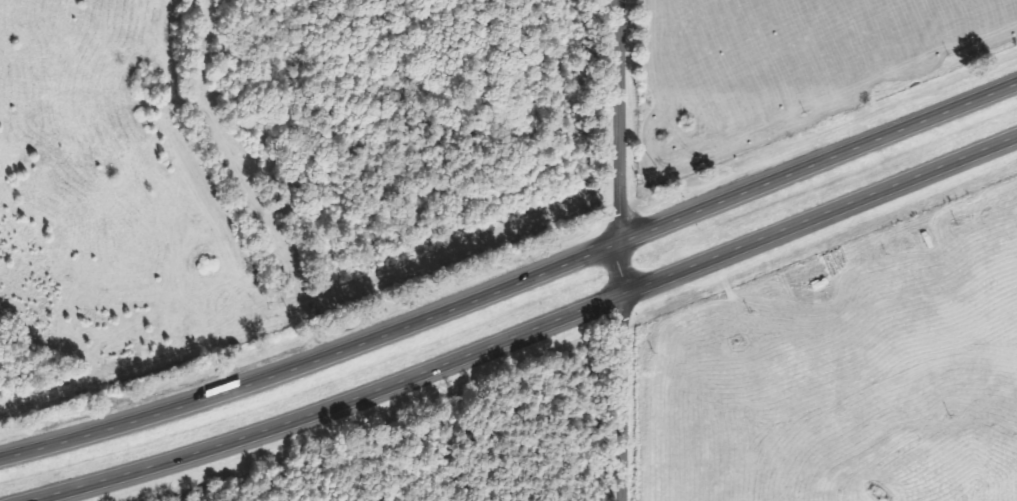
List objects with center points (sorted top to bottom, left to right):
road: (620, 250)
road: (513, 284)
road: (523, 331)

